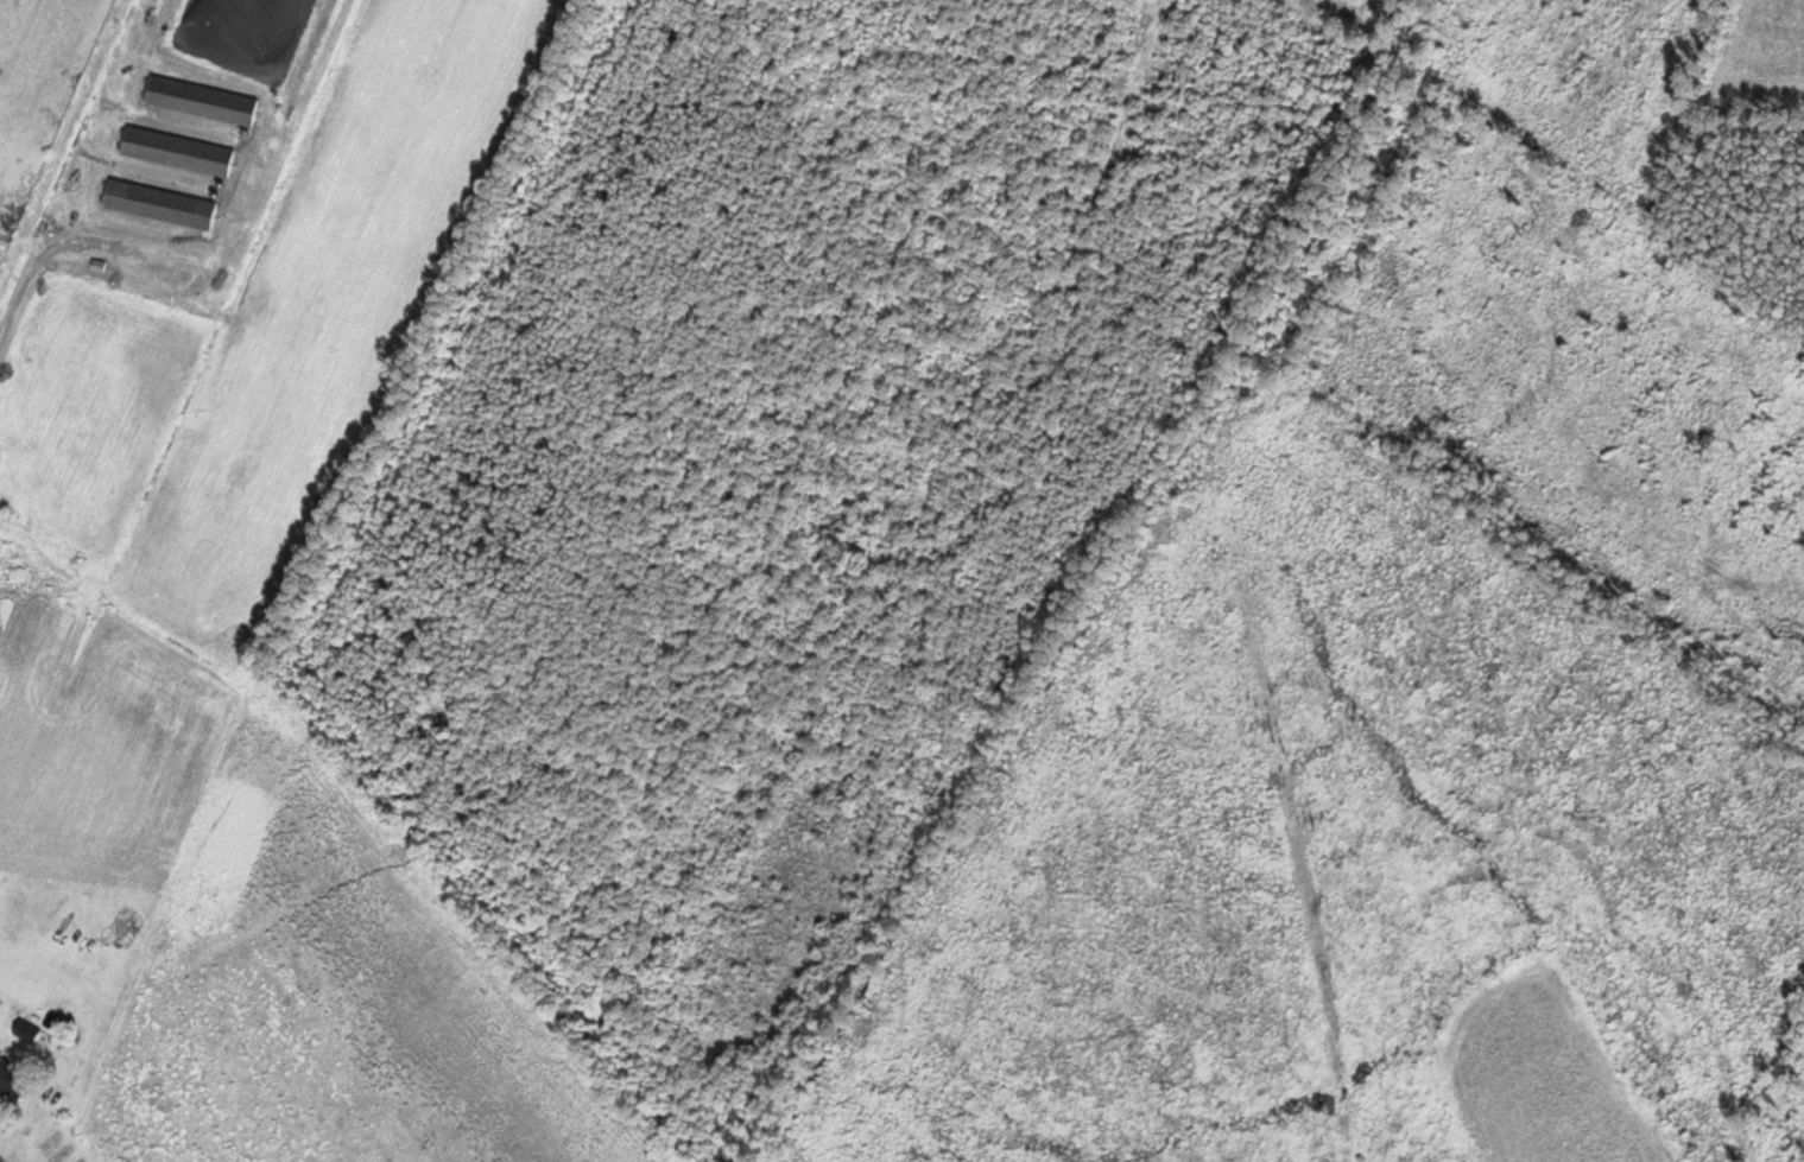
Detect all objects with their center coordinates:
building: (197, 102)
building: (173, 153)
building: (157, 205)
road: (188, 272)
building: (25, 1031)
road: (58, 1042)
building: (8, 1077)

